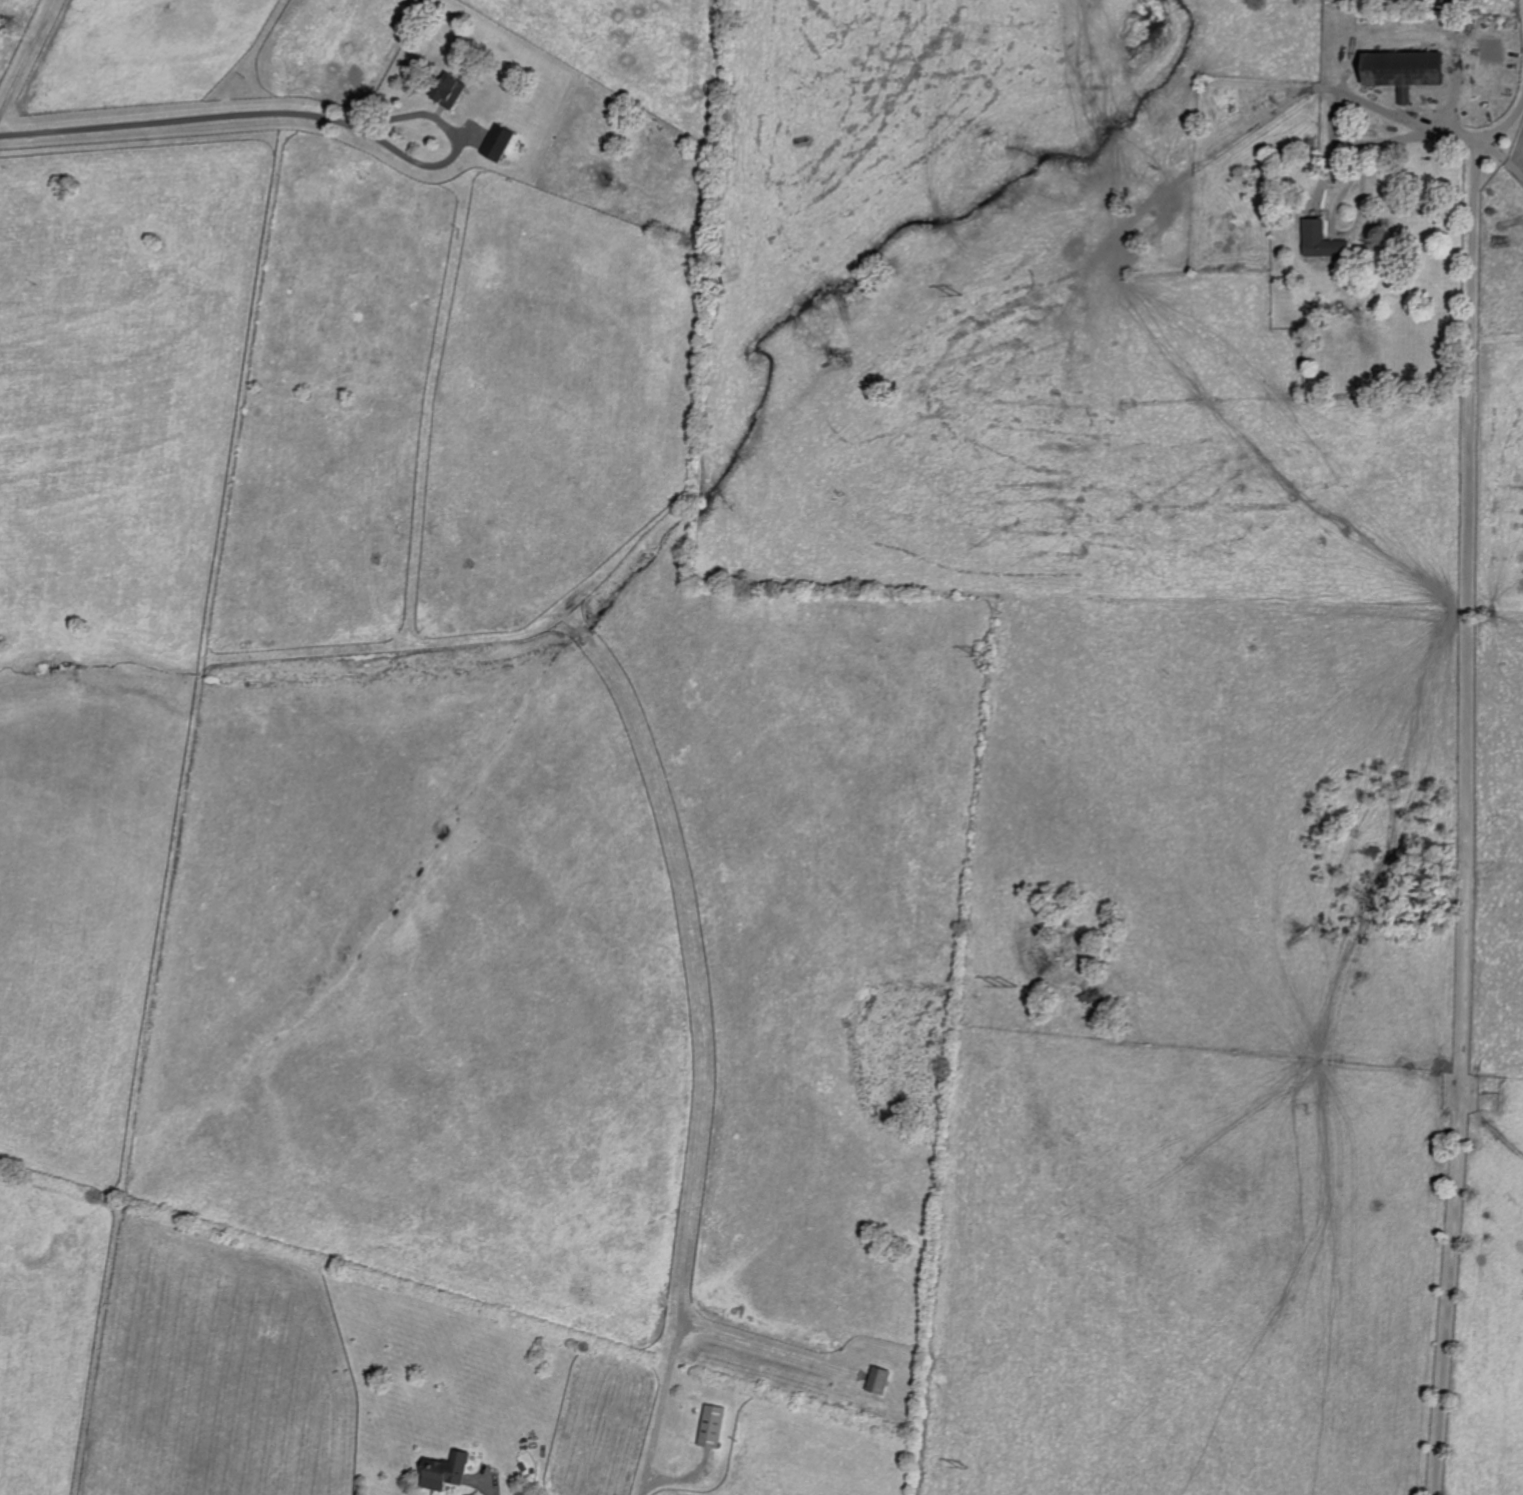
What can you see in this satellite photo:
road: (28, 60)
building: (1394, 70)
road: (182, 120)
road: (1330, 121)
road: (1502, 131)
road: (456, 147)
building: (1318, 241)
road: (1464, 796)
building: (451, 1474)
road: (664, 1481)
road: (492, 1489)

